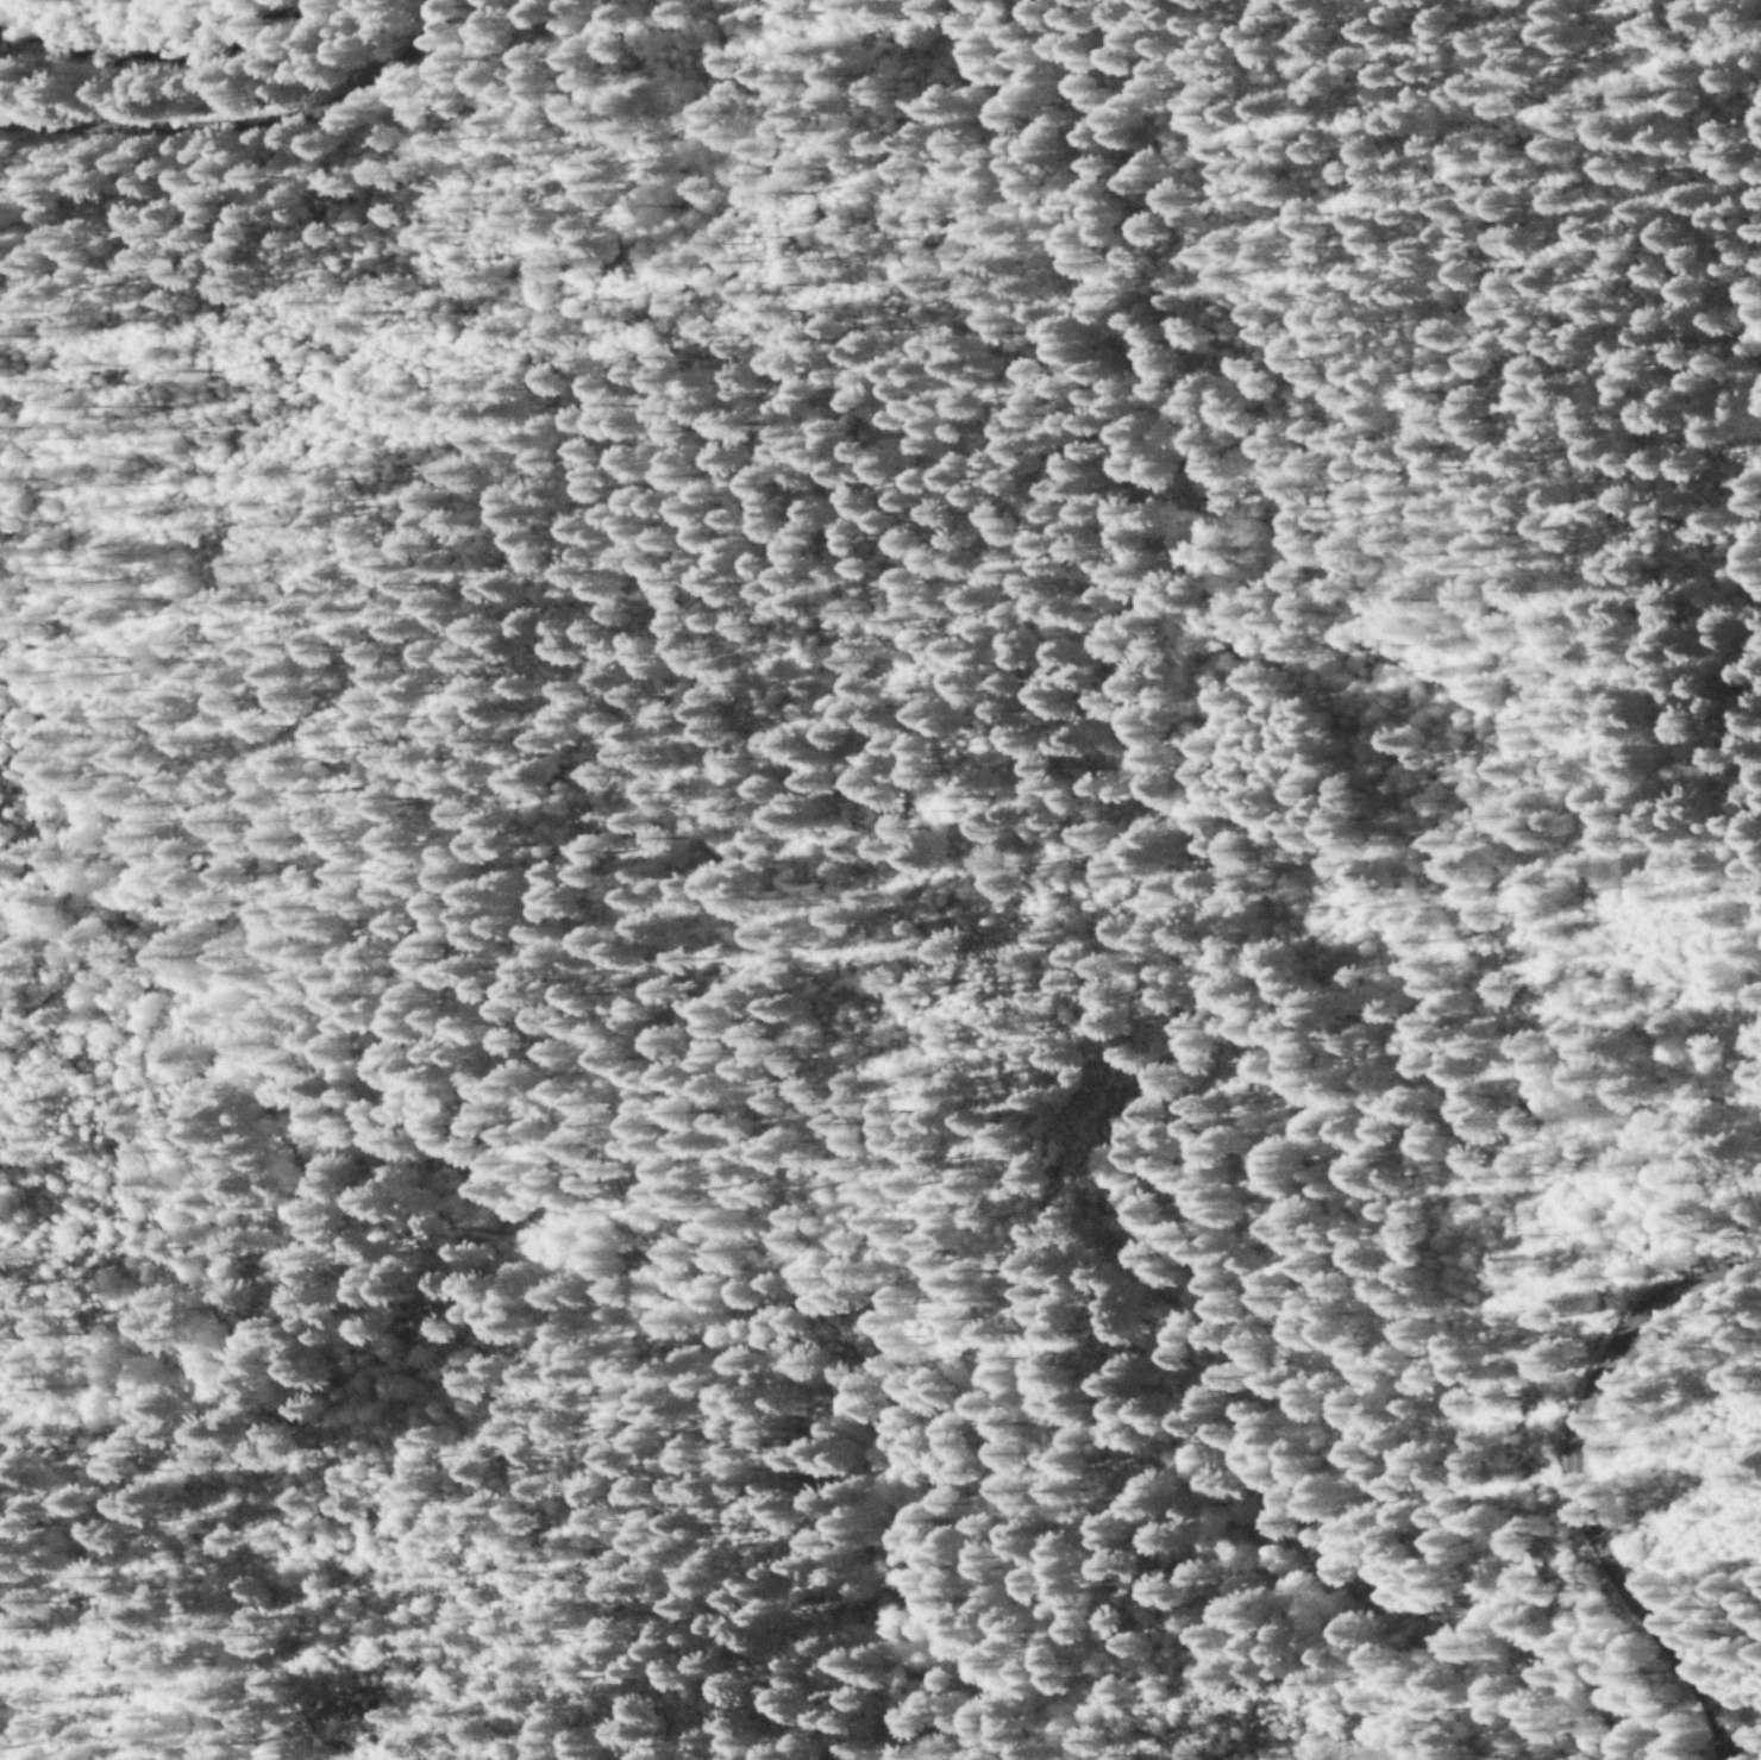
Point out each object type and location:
road: (1749, 8)
river: (111, 49)
road: (240, 124)

